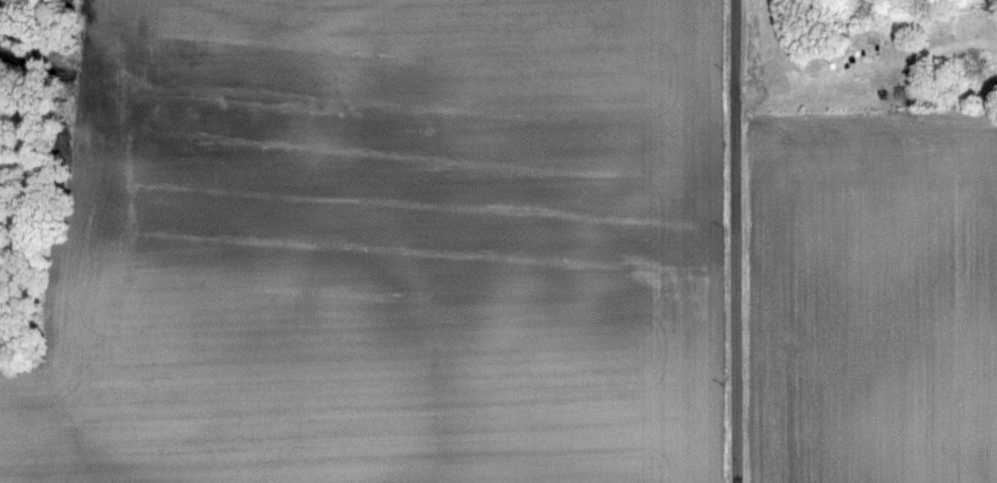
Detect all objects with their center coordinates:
road: (733, 241)

